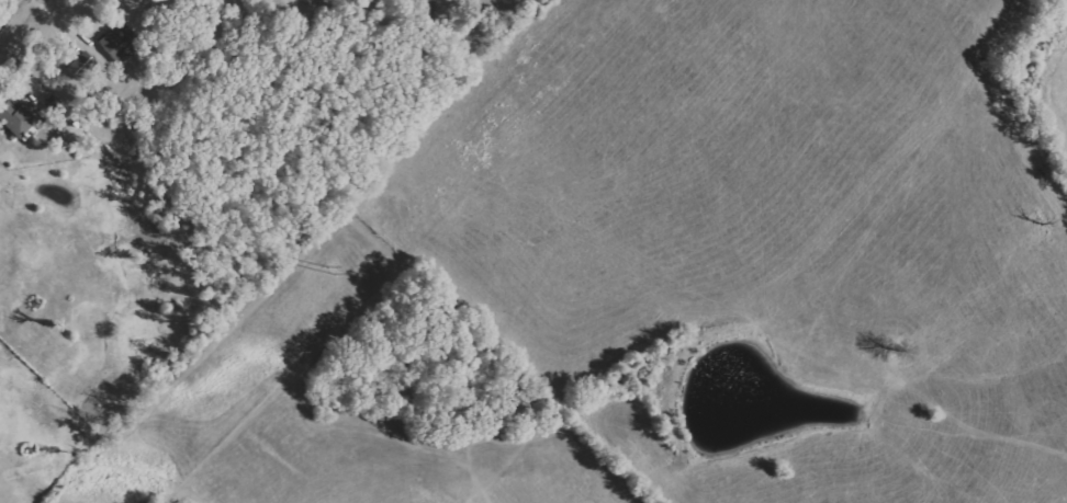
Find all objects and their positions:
road: (14, 14)
building: (121, 42)
building: (82, 65)
building: (65, 111)
building: (21, 117)

